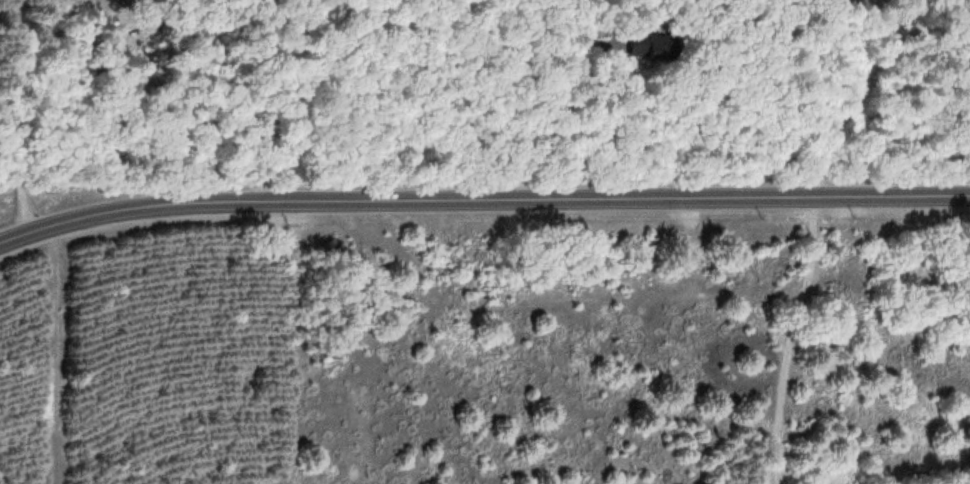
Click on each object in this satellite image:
road: (186, 115)
road: (15, 117)
road: (482, 199)

